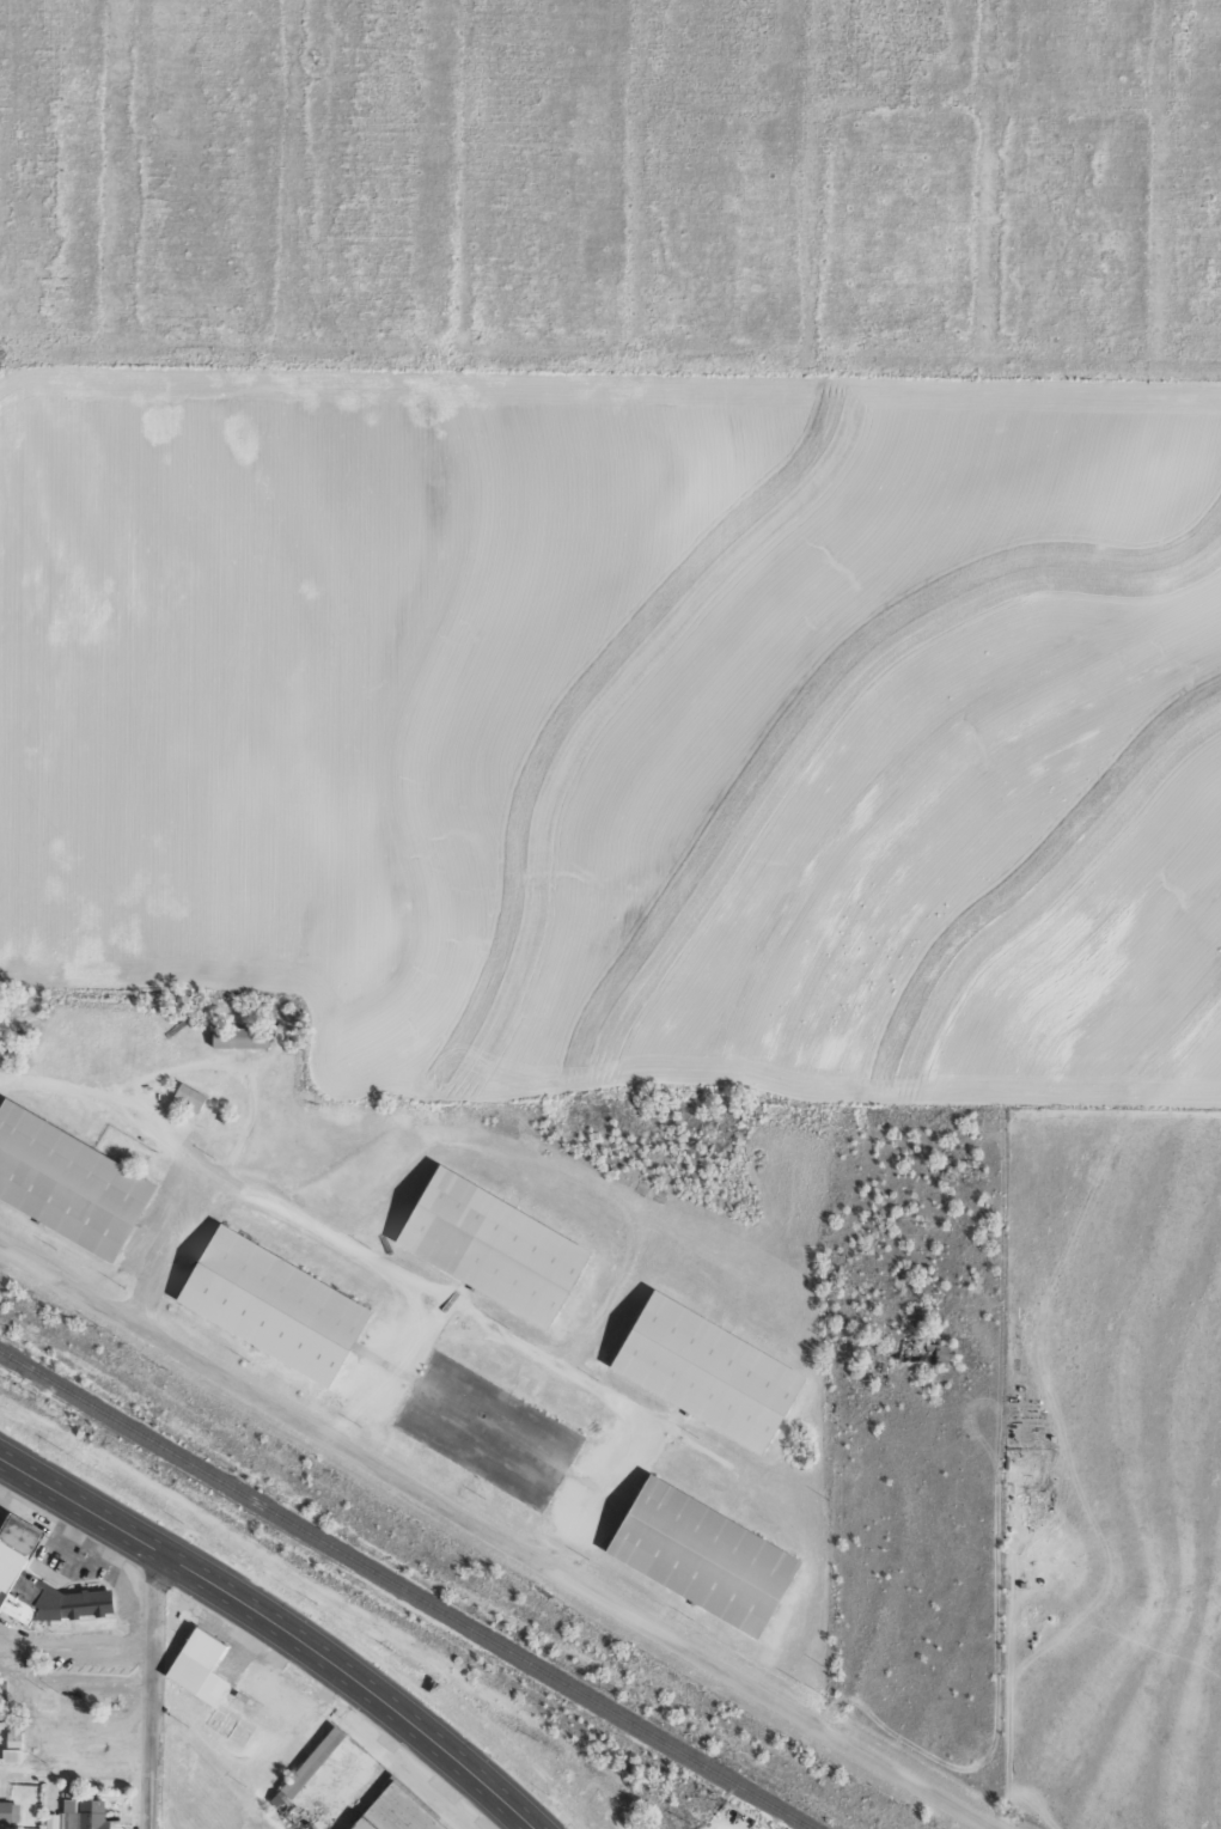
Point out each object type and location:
building: (243, 1037)
building: (191, 1097)
building: (72, 1182)
road: (169, 1240)
building: (501, 1248)
road: (396, 1273)
building: (280, 1305)
road: (373, 1359)
building: (715, 1372)
building: (497, 1432)
road: (379, 1462)
building: (712, 1556)
building: (38, 1581)
railway: (403, 1589)
road: (280, 1618)
building: (207, 1665)
road: (158, 1684)
building: (14, 1744)
road: (880, 1757)
building: (315, 1761)
building: (401, 1811)
building: (10, 1812)
building: (80, 1815)

